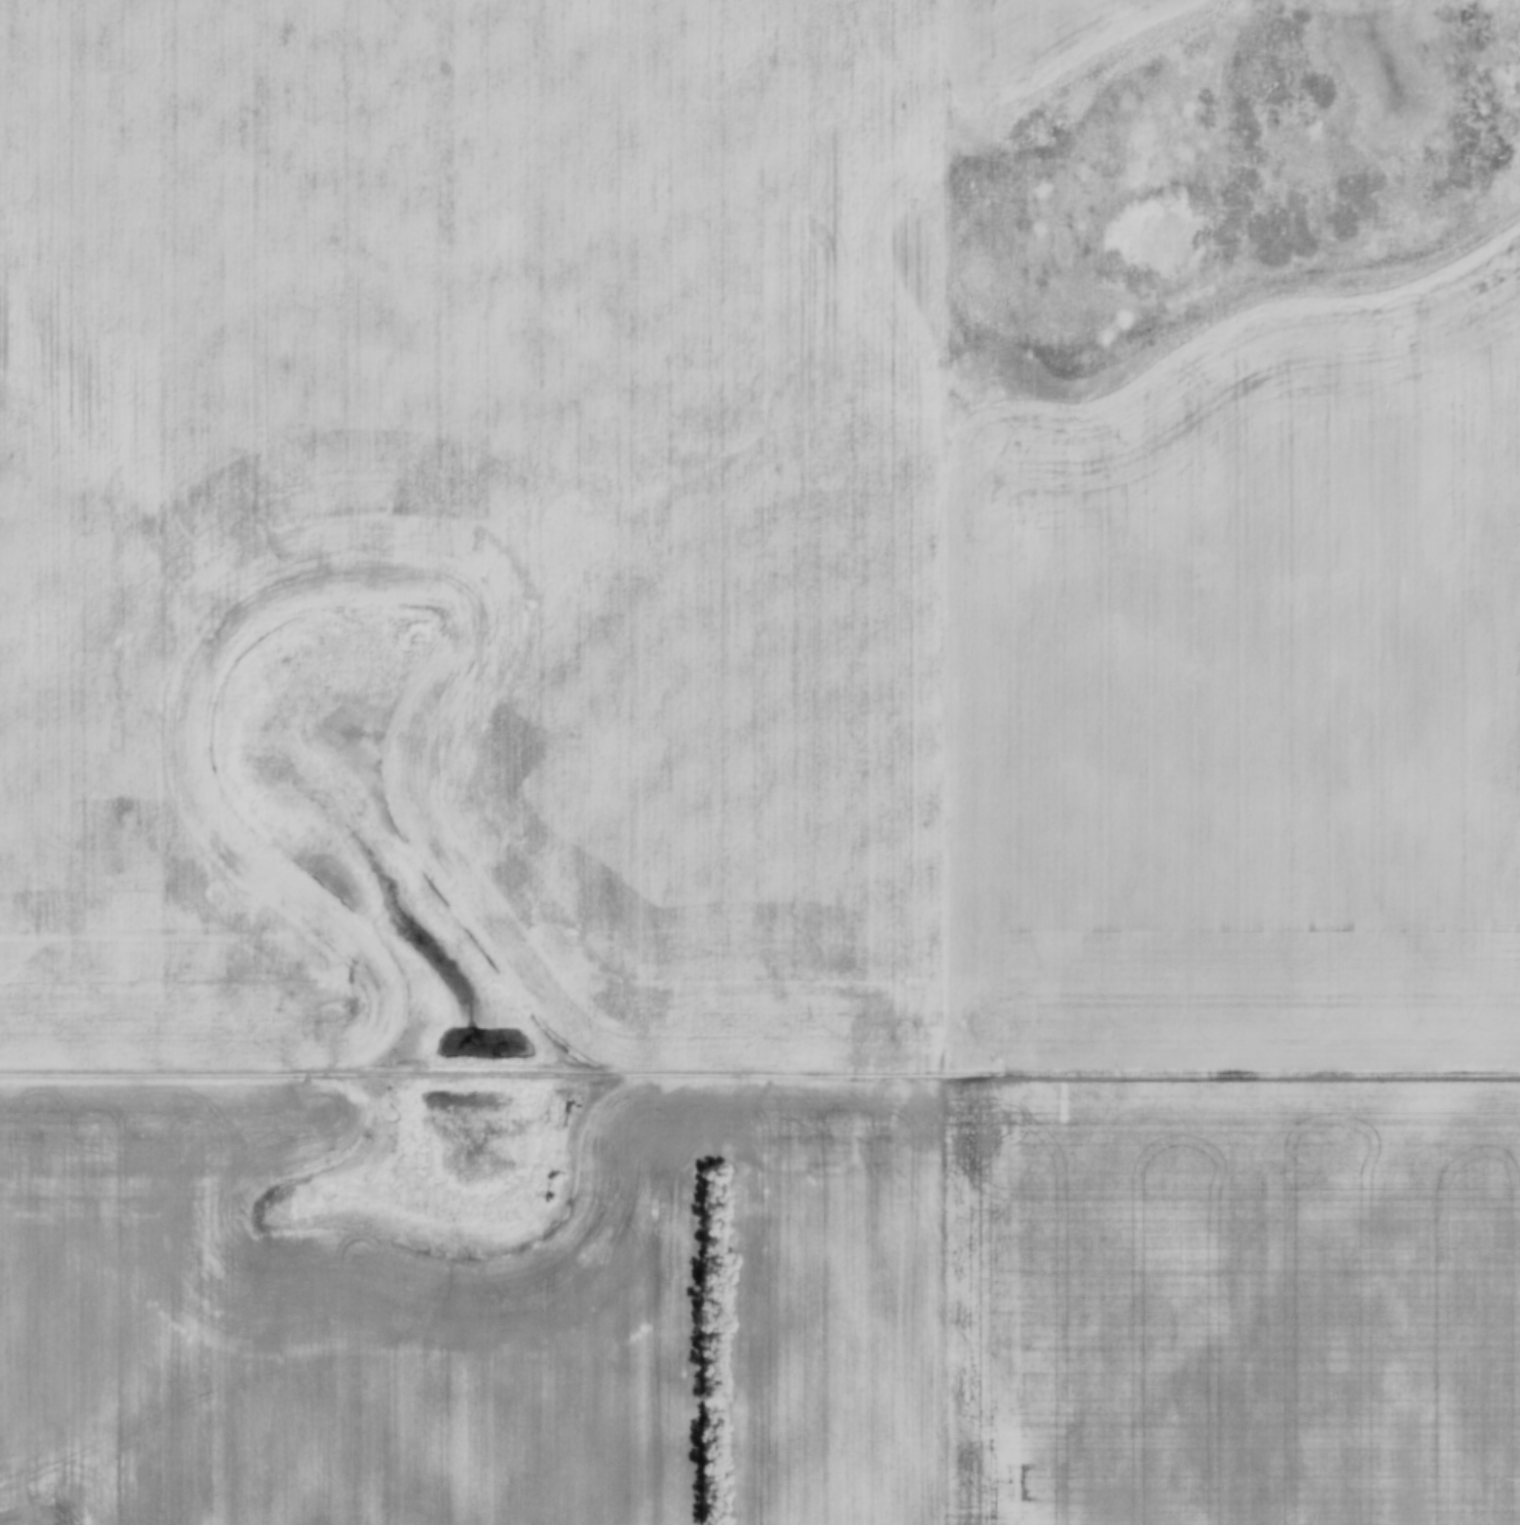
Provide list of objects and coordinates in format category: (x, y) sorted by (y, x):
road: (760, 1075)

